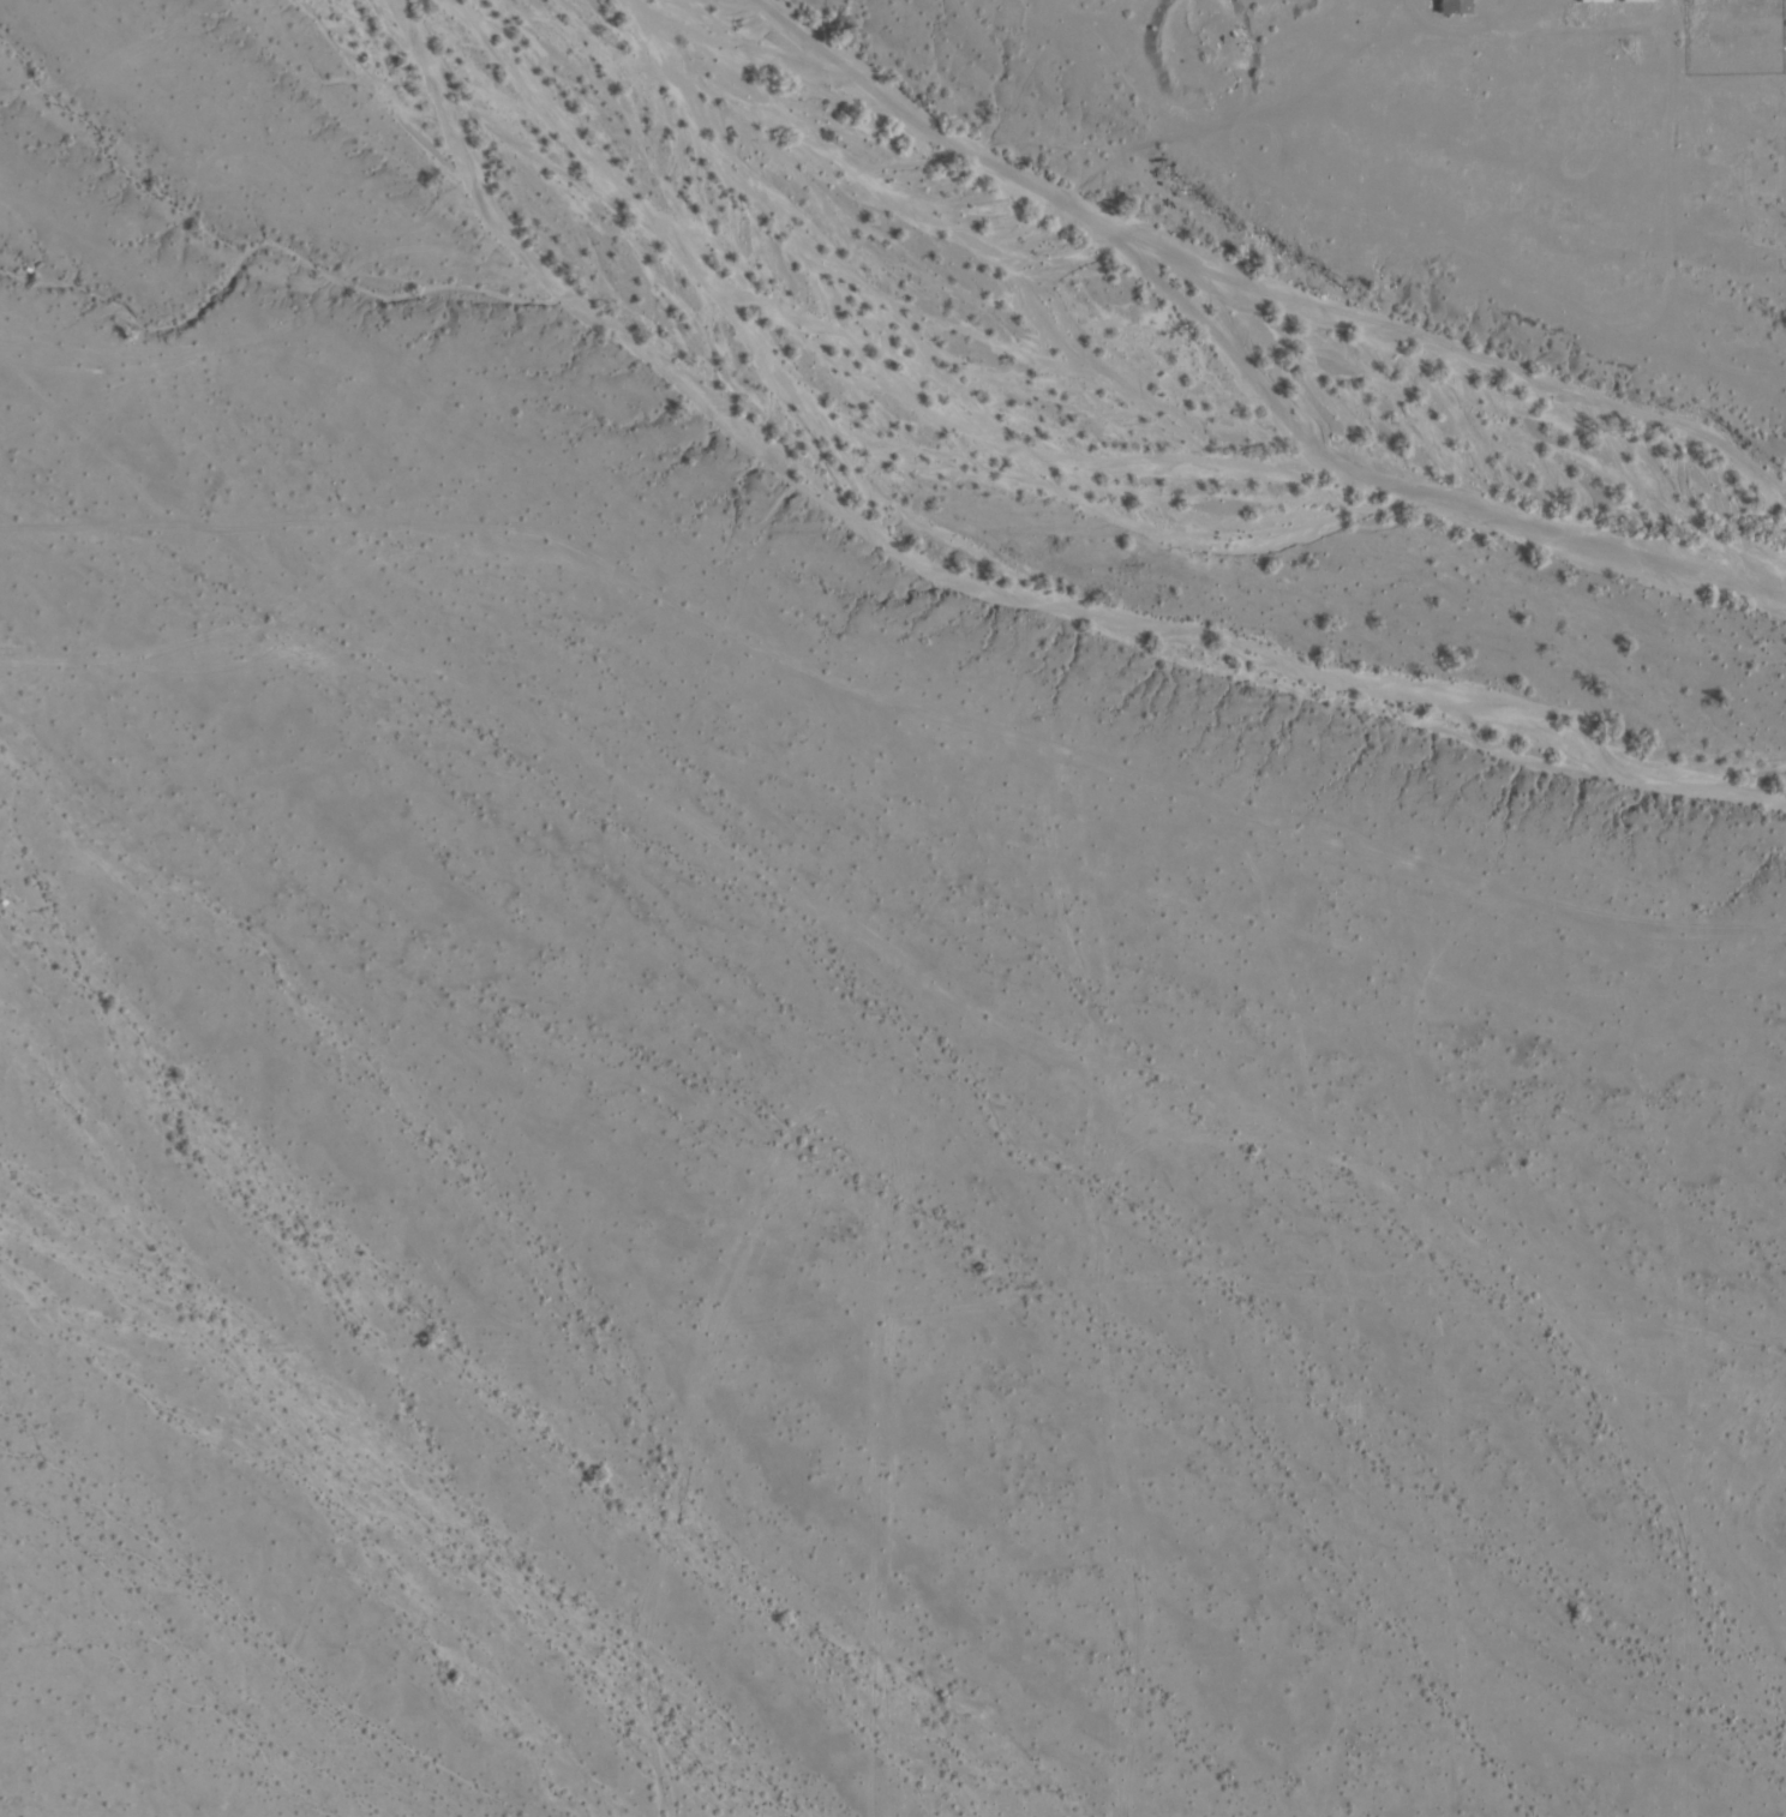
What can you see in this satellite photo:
building: (1589, 0)
building: (1632, 0)
building: (1449, 7)

